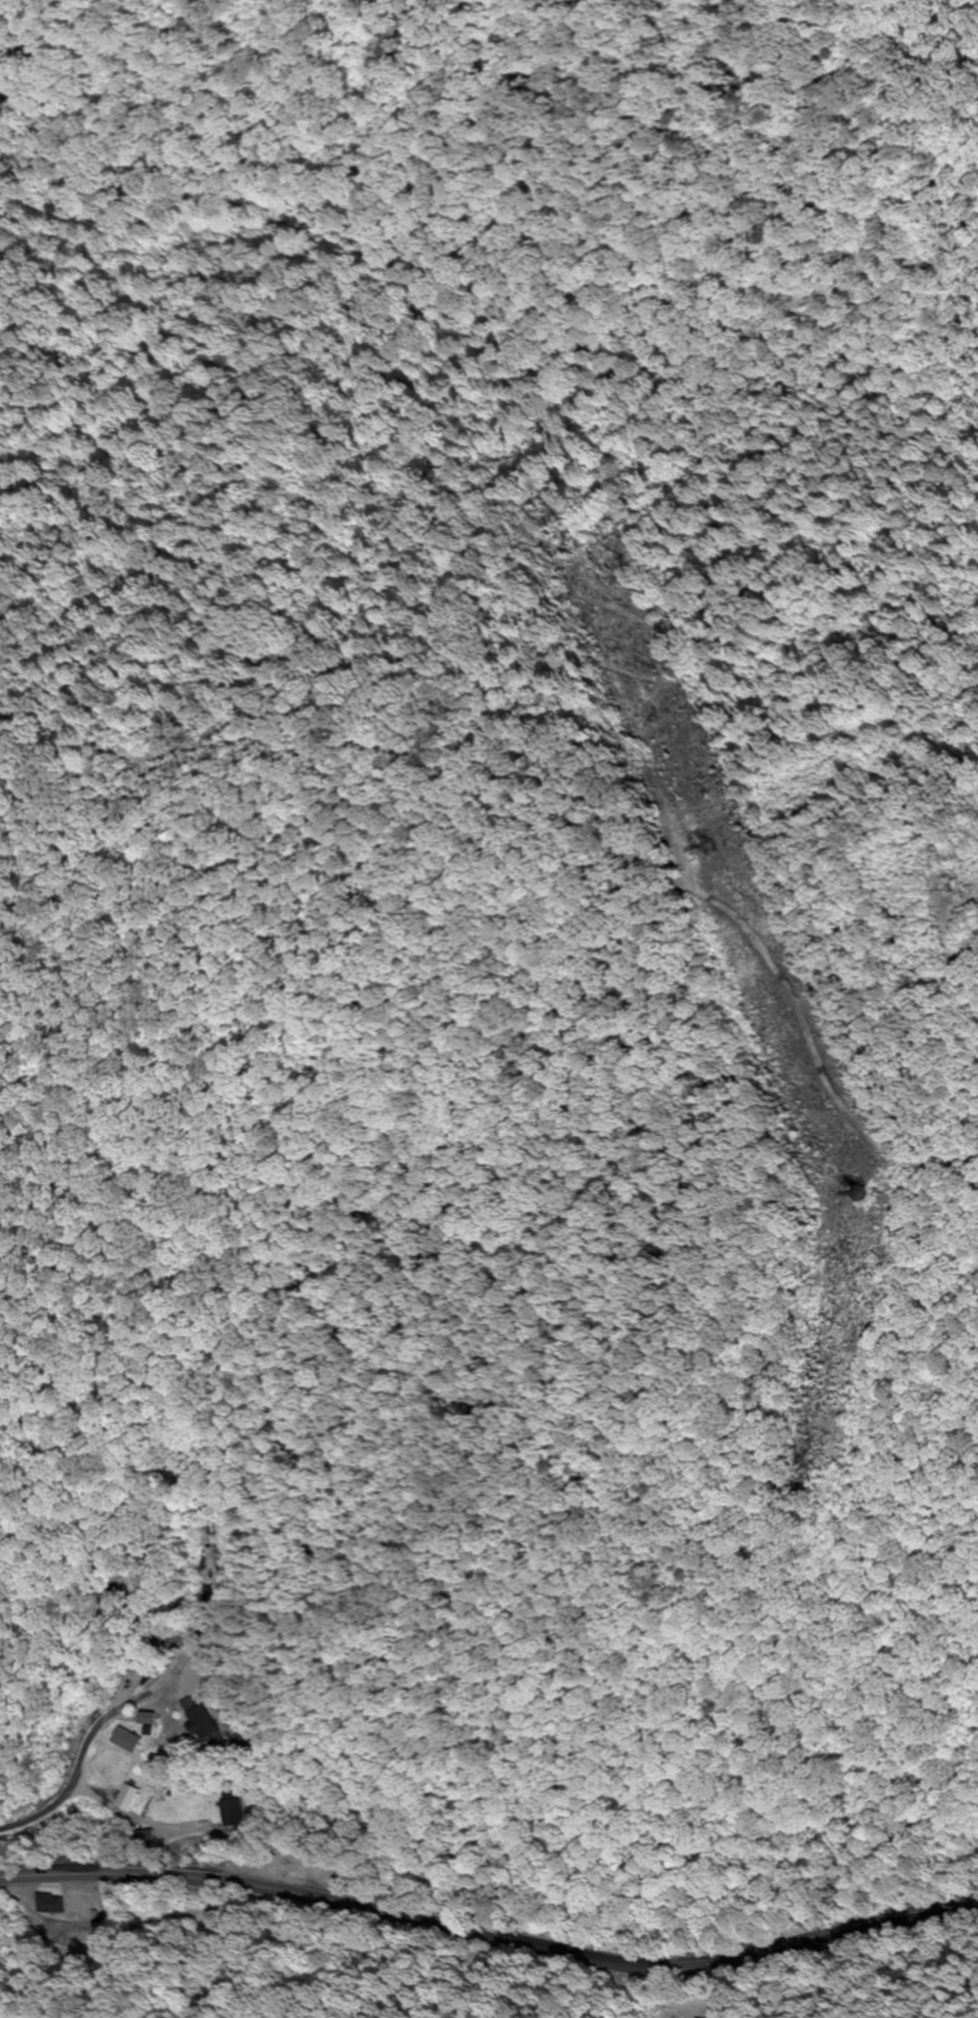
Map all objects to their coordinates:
power tower: (715, 847)
power tower: (867, 1194)
building: (206, 1613)
building: (152, 1718)
building: (210, 1720)
building: (130, 1740)
road: (75, 1777)
building: (130, 1798)
building: (232, 1810)
road: (489, 1942)

